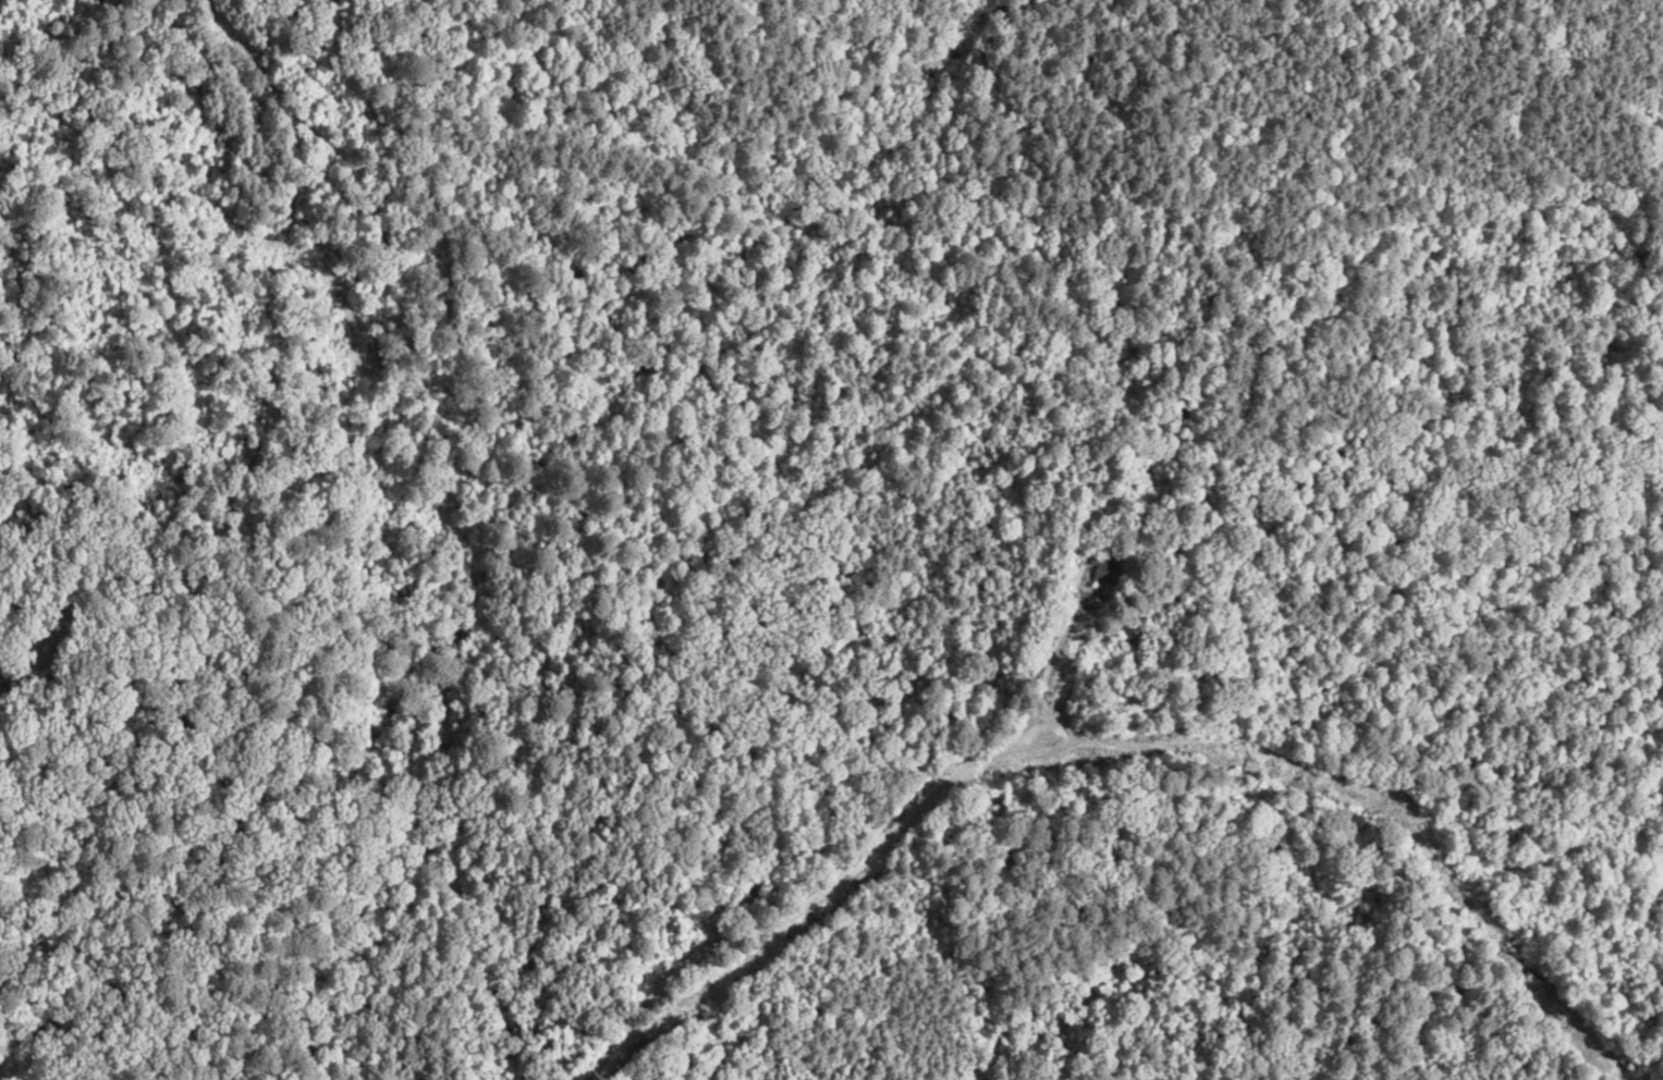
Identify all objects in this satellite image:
building: (1099, 569)
building: (1505, 833)
building: (748, 889)
road: (735, 960)

